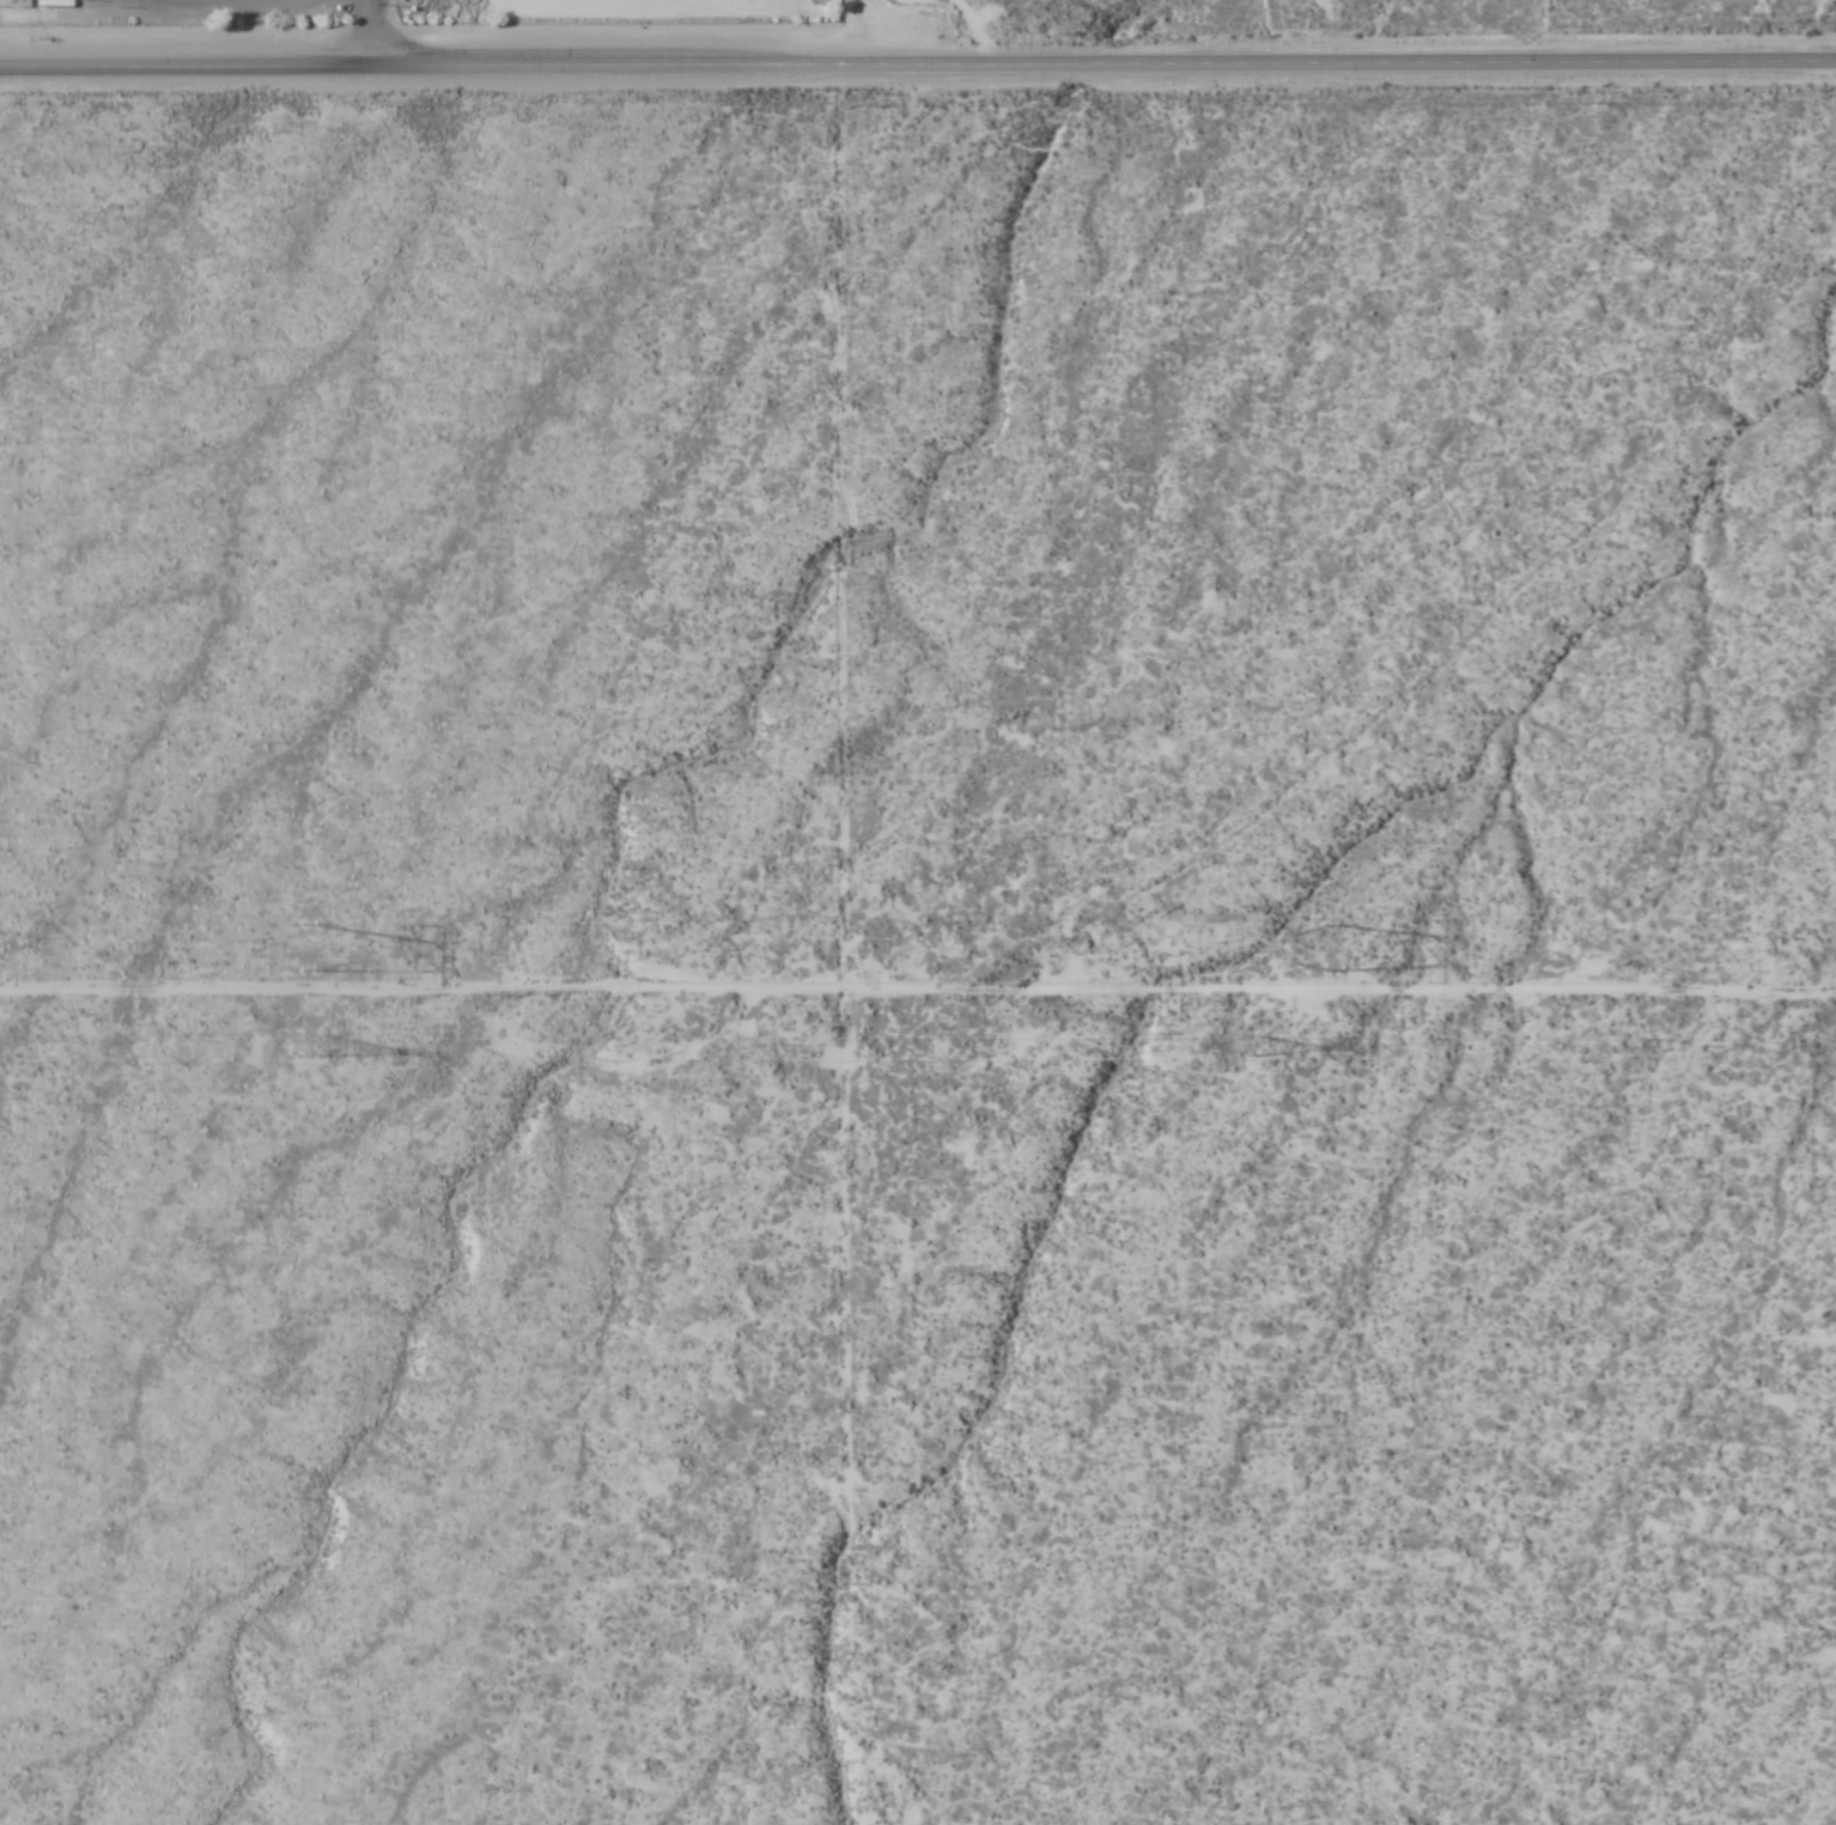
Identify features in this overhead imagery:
building: (48, 4)
landfill: (411, 42)
road: (918, 65)
power tower: (1344, 942)
power tower: (317, 948)
power tower: (1242, 1038)
power tower: (304, 1044)

